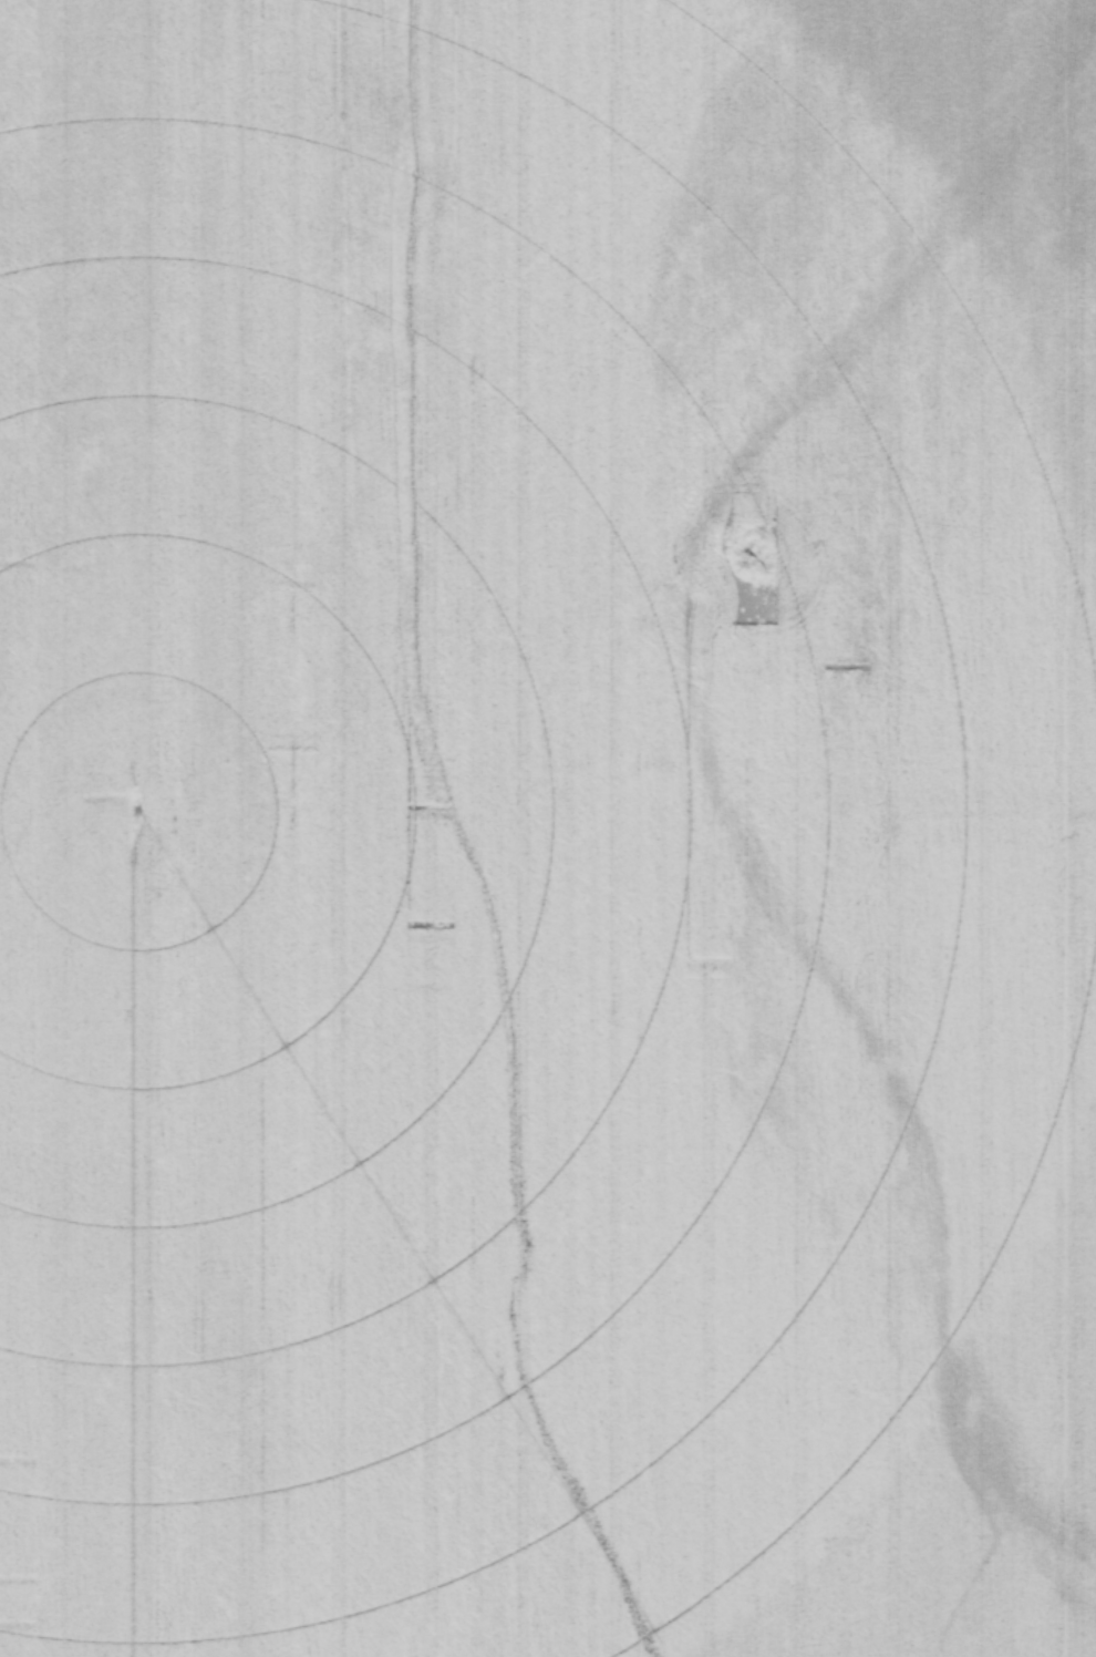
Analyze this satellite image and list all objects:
building: (821, 550)
building: (851, 578)
building: (759, 657)

